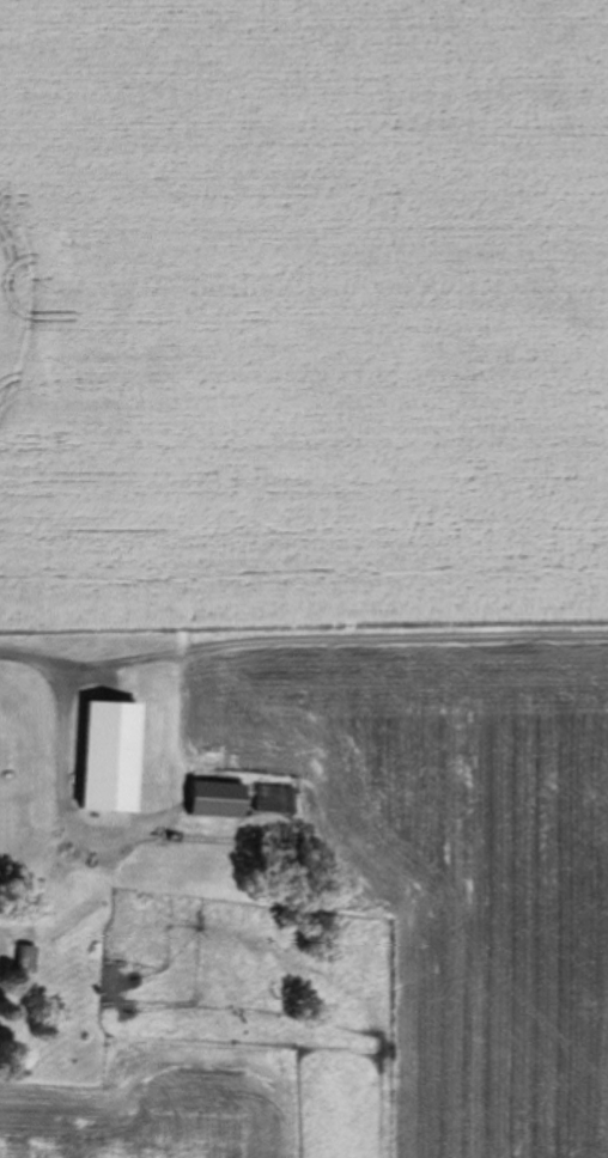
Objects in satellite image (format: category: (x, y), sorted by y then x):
road: (63, 748)
building: (114, 757)
building: (5, 762)
building: (273, 798)
building: (220, 800)
building: (381, 849)
building: (175, 906)
road: (1, 952)

